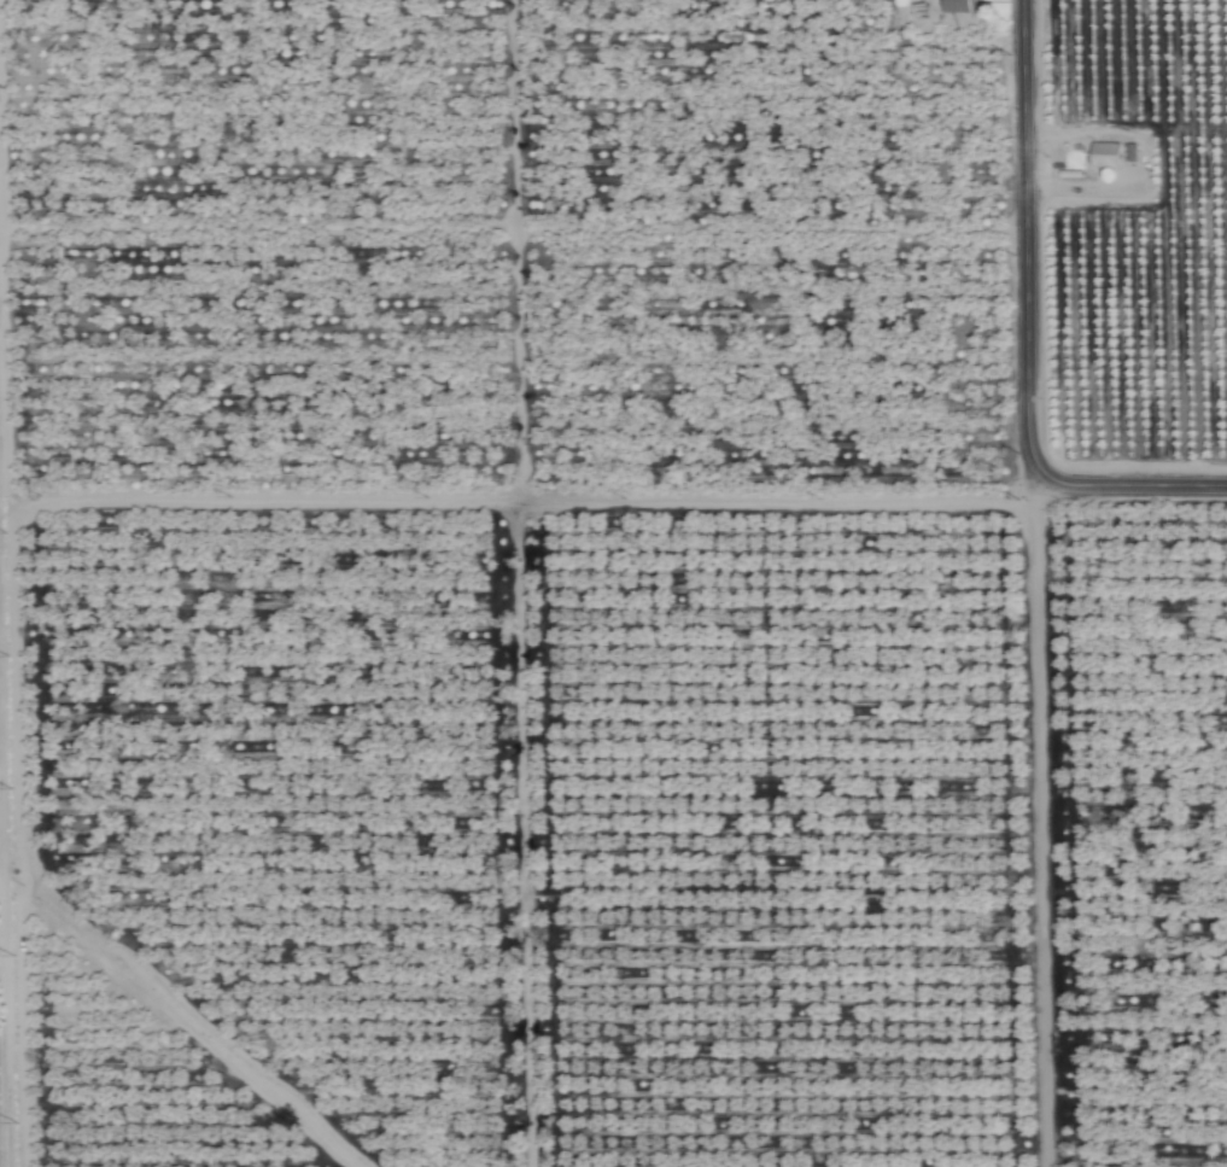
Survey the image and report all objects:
building: (960, 5)
building: (1129, 152)
building: (1104, 154)
road: (1029, 239)
road: (1137, 488)
road: (192, 503)
road: (2, 879)

